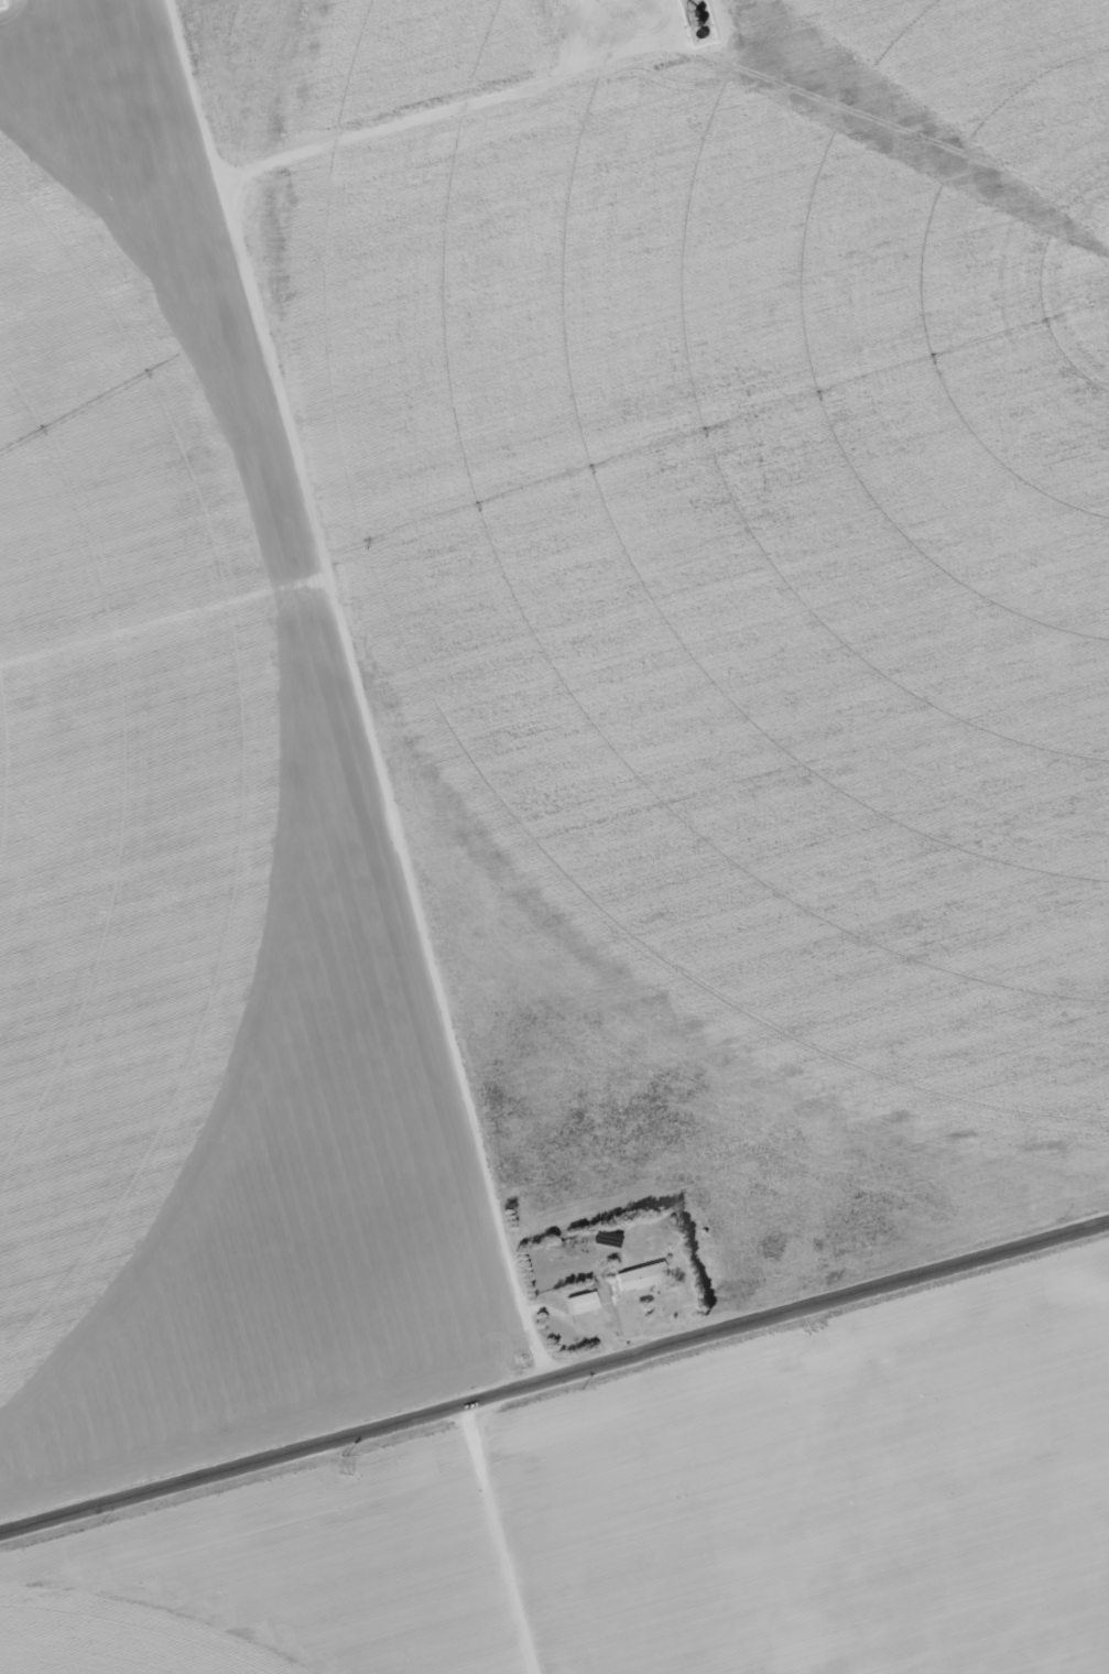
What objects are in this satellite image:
building: (642, 1276)
road: (554, 1377)

